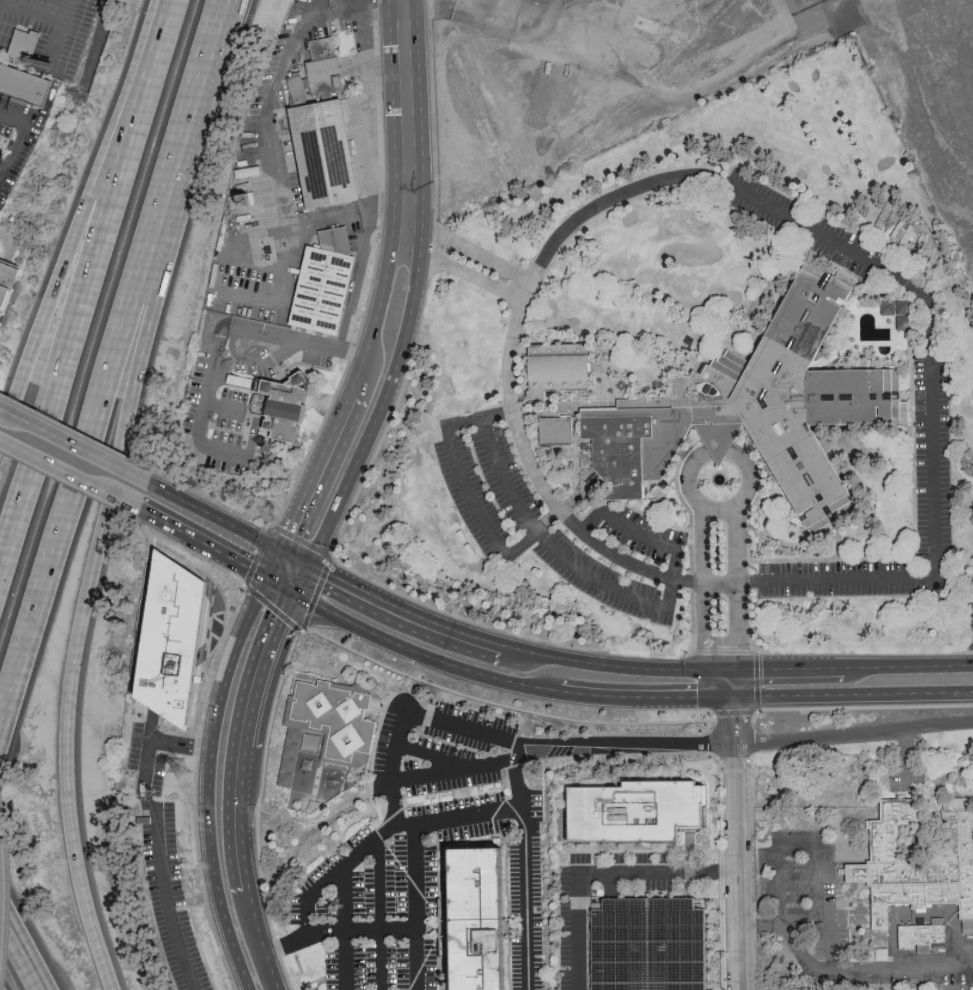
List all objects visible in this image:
road: (403, 4)
road: (3, 10)
road: (36, 10)
road: (62, 32)
building: (25, 45)
building: (326, 60)
airport: (685, 83)
building: (23, 84)
building: (299, 89)
road: (404, 123)
road: (268, 127)
road: (24, 131)
building: (327, 154)
road: (86, 220)
building: (903, 230)
road: (10, 240)
road: (471, 251)
road: (458, 273)
building: (6, 282)
road: (356, 285)
road: (530, 286)
road: (84, 291)
building: (324, 293)
road: (280, 294)
road: (380, 297)
road: (408, 303)
building: (899, 311)
road: (216, 354)
road: (257, 361)
road: (114, 369)
building: (560, 370)
road: (360, 377)
road: (231, 379)
building: (286, 398)
road: (225, 408)
building: (759, 408)
road: (497, 415)
building: (285, 432)
building: (559, 432)
road: (450, 438)
road: (70, 441)
road: (722, 453)
road: (64, 469)
road: (349, 469)
road: (317, 473)
road: (111, 492)
road: (143, 510)
road: (210, 514)
road: (548, 521)
road: (932, 521)
road: (214, 548)
road: (702, 552)
traffic signals: (280, 554)
road: (292, 561)
road: (274, 567)
traffic signals: (305, 569)
traffic signals: (269, 581)
road: (300, 583)
road: (282, 589)
road: (738, 590)
traffic signals: (295, 597)
road: (670, 602)
road: (402, 614)
road: (310, 619)
road: (705, 637)
building: (168, 641)
road: (424, 652)
road: (554, 659)
road: (908, 663)
road: (785, 665)
road: (704, 667)
traffic signals: (727, 667)
road: (643, 668)
road: (263, 670)
road: (728, 680)
road: (851, 692)
traffic signals: (730, 694)
road: (644, 696)
road: (502, 704)
road: (733, 719)
road: (854, 733)
road: (627, 740)
building: (324, 744)
road: (909, 755)
road: (457, 766)
power tower: (177, 773)
road: (236, 773)
road: (430, 775)
road: (209, 782)
building: (644, 810)
road: (493, 813)
road: (398, 815)
road: (157, 833)
road: (240, 847)
road: (807, 848)
road: (736, 867)
building: (919, 867)
road: (596, 870)
road: (528, 898)
road: (417, 906)
road: (381, 913)
building: (477, 921)
road: (346, 927)
road: (362, 929)
building: (925, 939)
road: (257, 941)
building: (649, 945)
road: (21, 949)
road: (845, 972)

